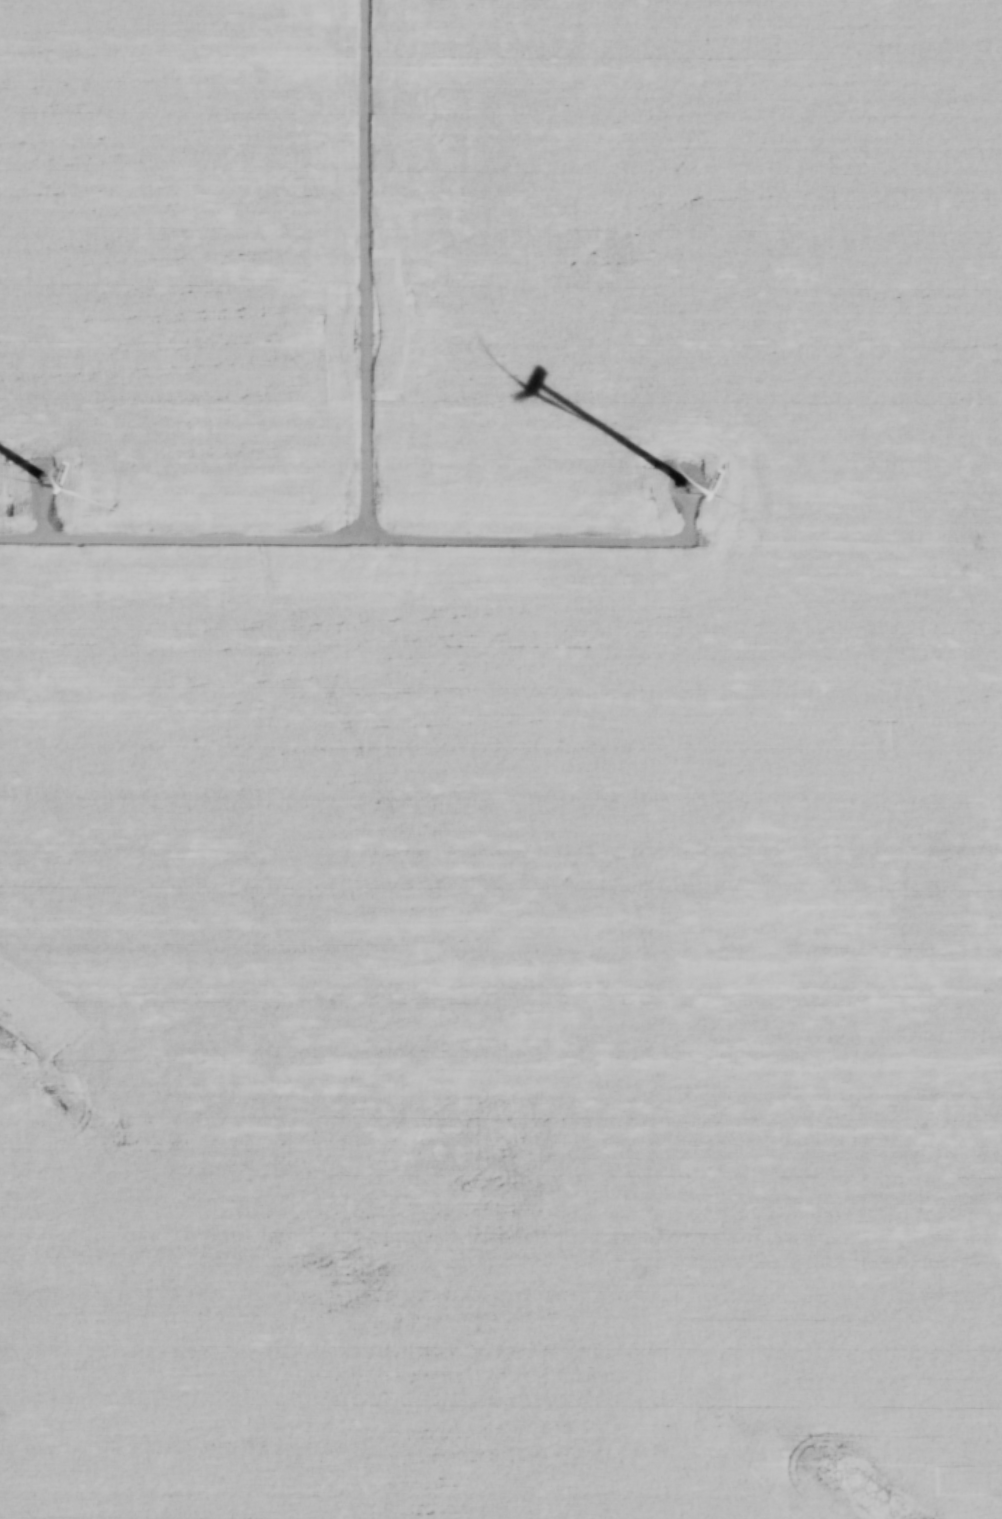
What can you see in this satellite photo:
wind turbine: (46, 476)
wind turbine: (689, 490)

